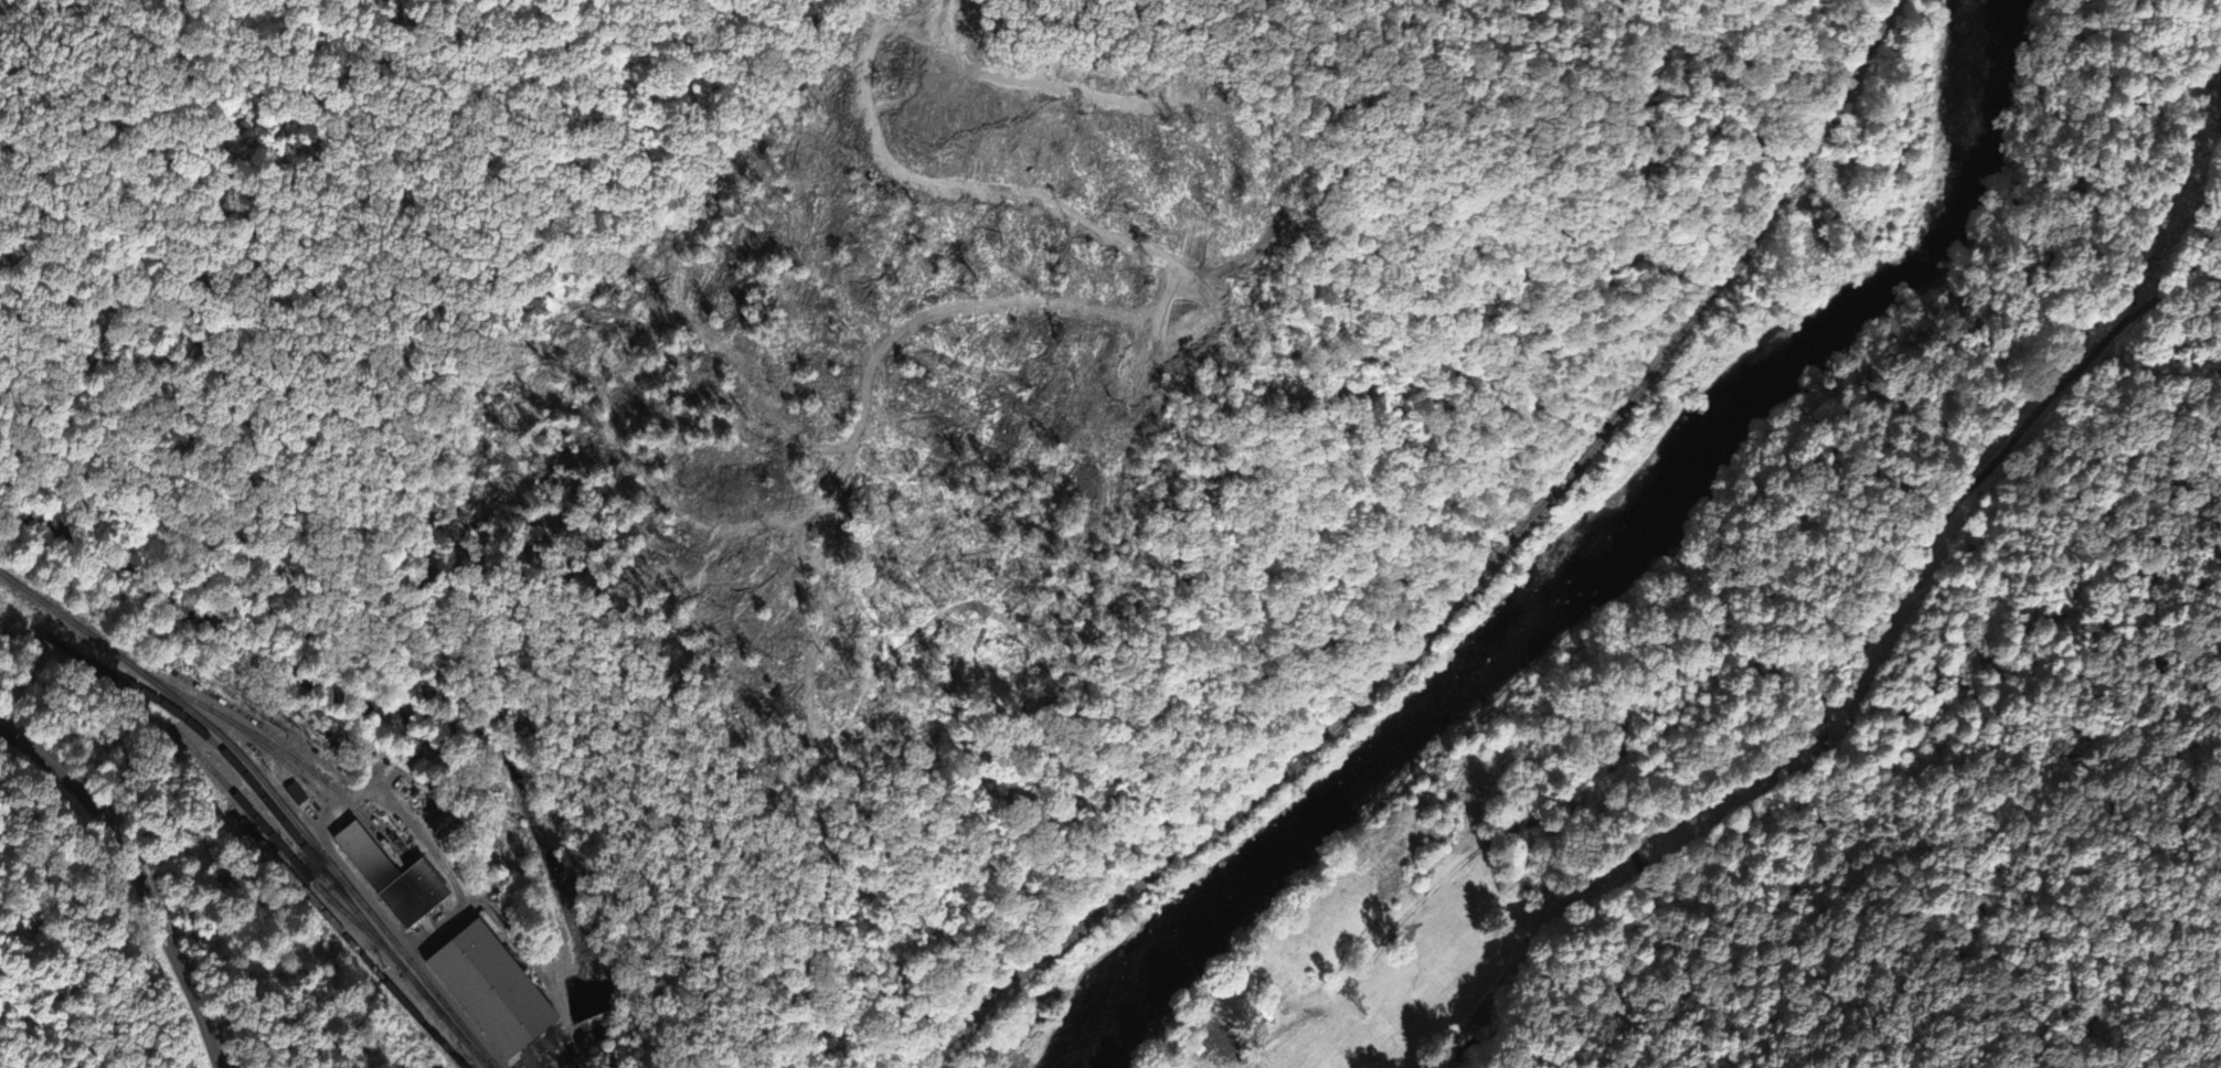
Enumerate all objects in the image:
railway: (1795, 100)
river: (1588, 567)
railway: (103, 662)
railway: (1400, 682)
railway: (234, 706)
railway: (274, 798)
railway: (352, 803)
railway: (293, 826)
road: (1757, 834)
railway: (281, 841)
building: (391, 875)
road: (1455, 877)
road: (129, 888)
railway: (337, 908)
railway: (352, 938)
road: (1635, 951)
railway: (481, 972)
building: (492, 990)
park: (495, 1006)
railway: (562, 1054)

